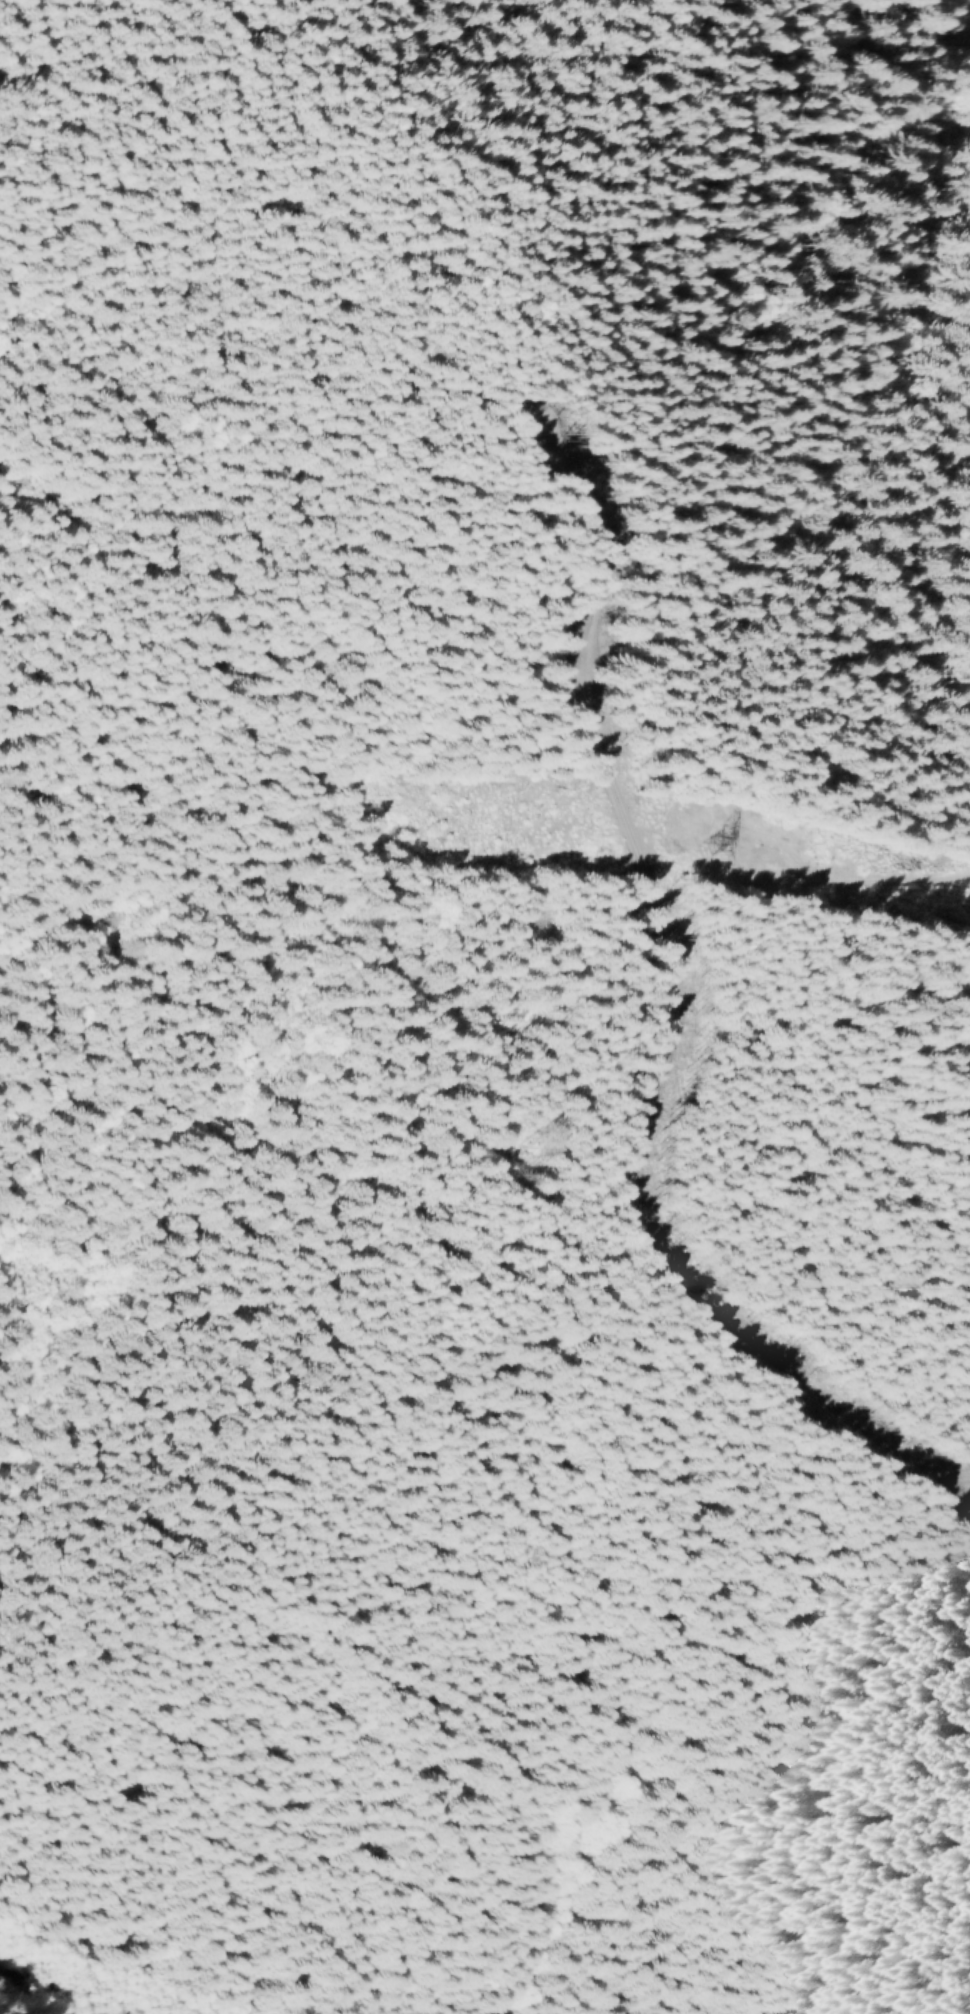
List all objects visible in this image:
power tower: (713, 844)
road: (912, 1078)

